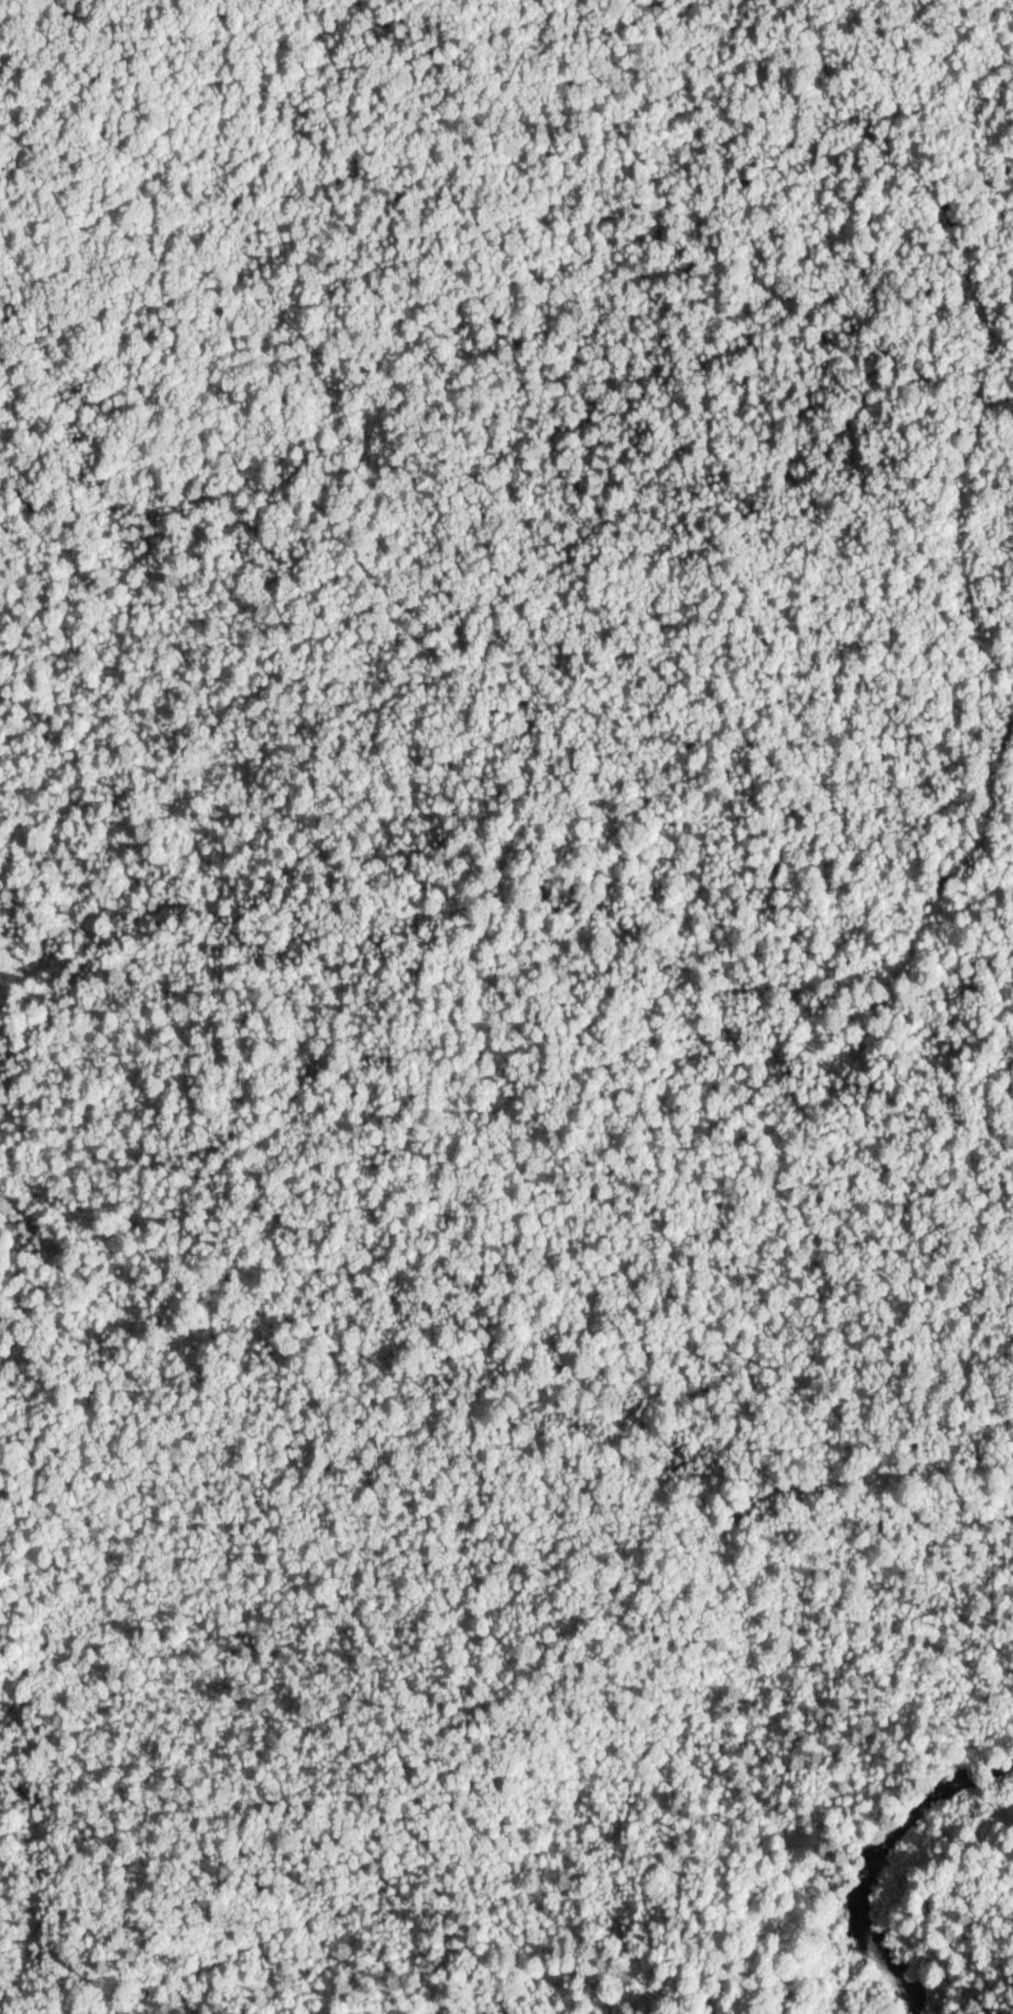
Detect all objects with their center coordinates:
road: (475, 1466)
river: (884, 1861)
road: (417, 1938)
road: (26, 1946)
road: (893, 1954)

